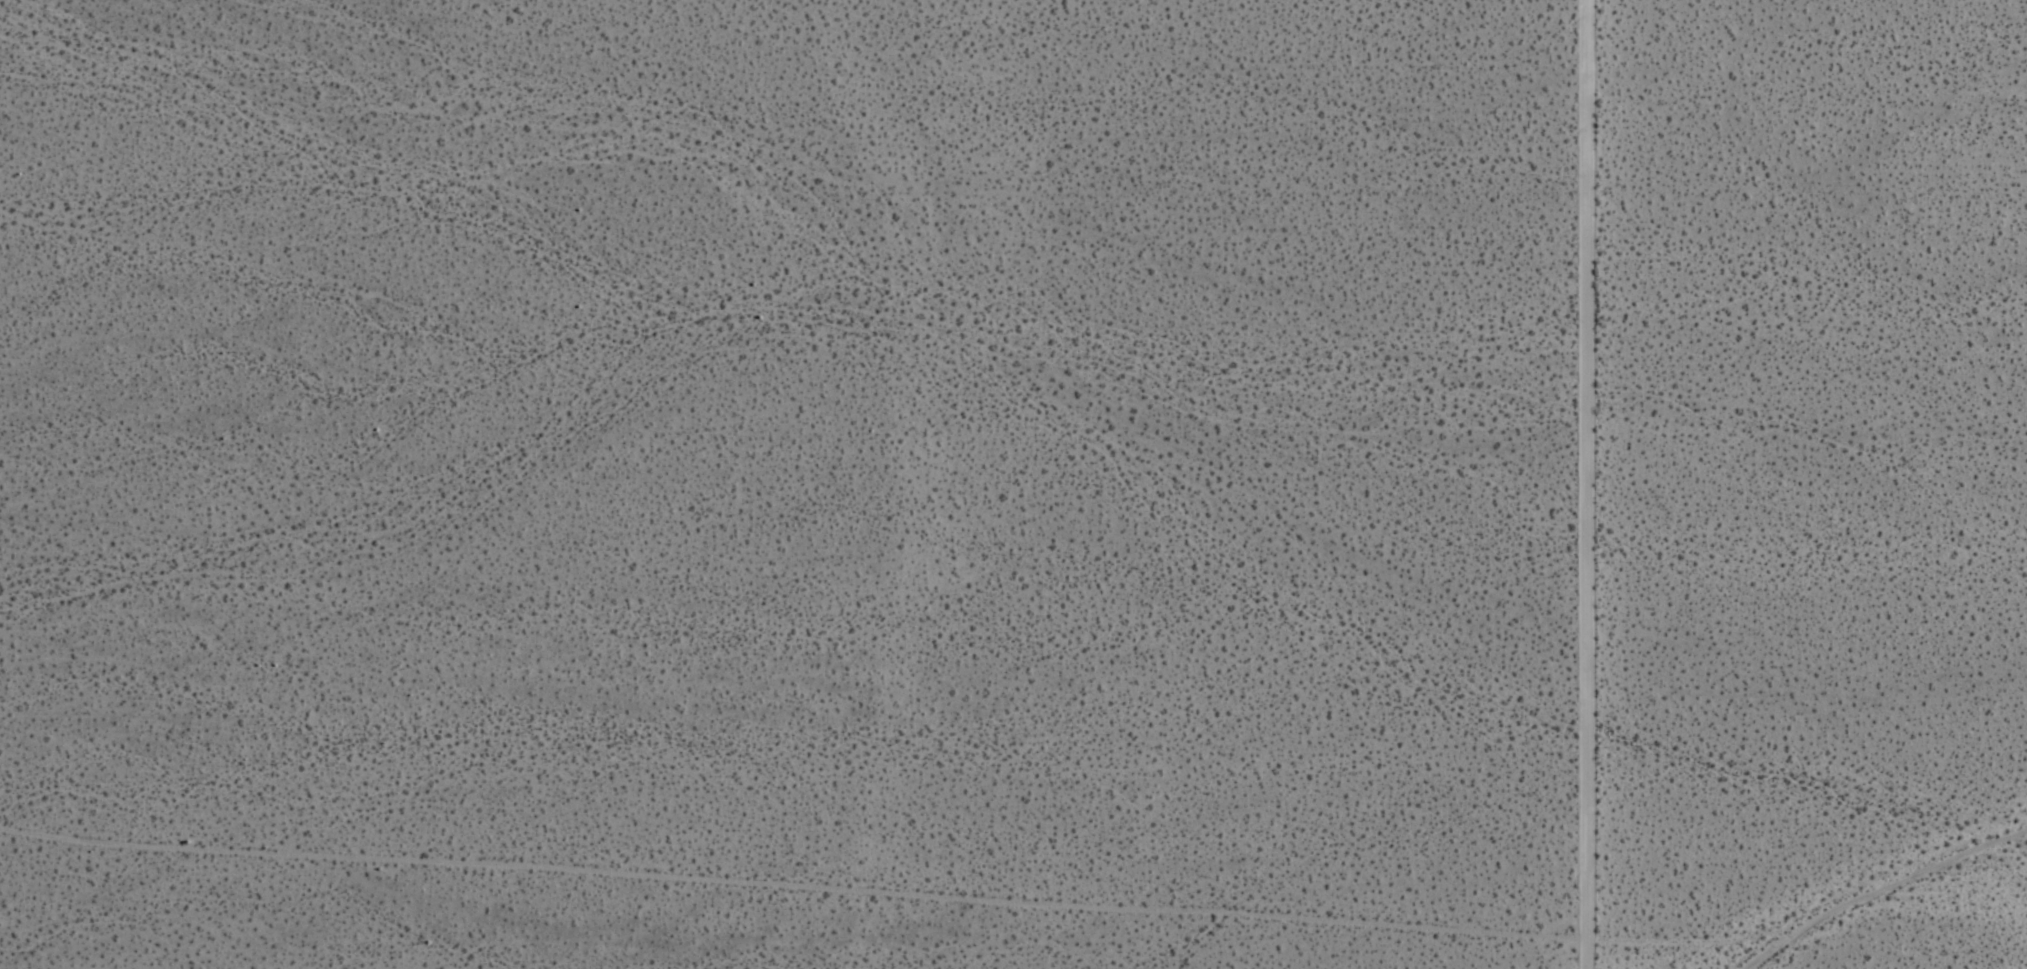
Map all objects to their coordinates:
road: (1580, 484)
road: (1924, 894)

